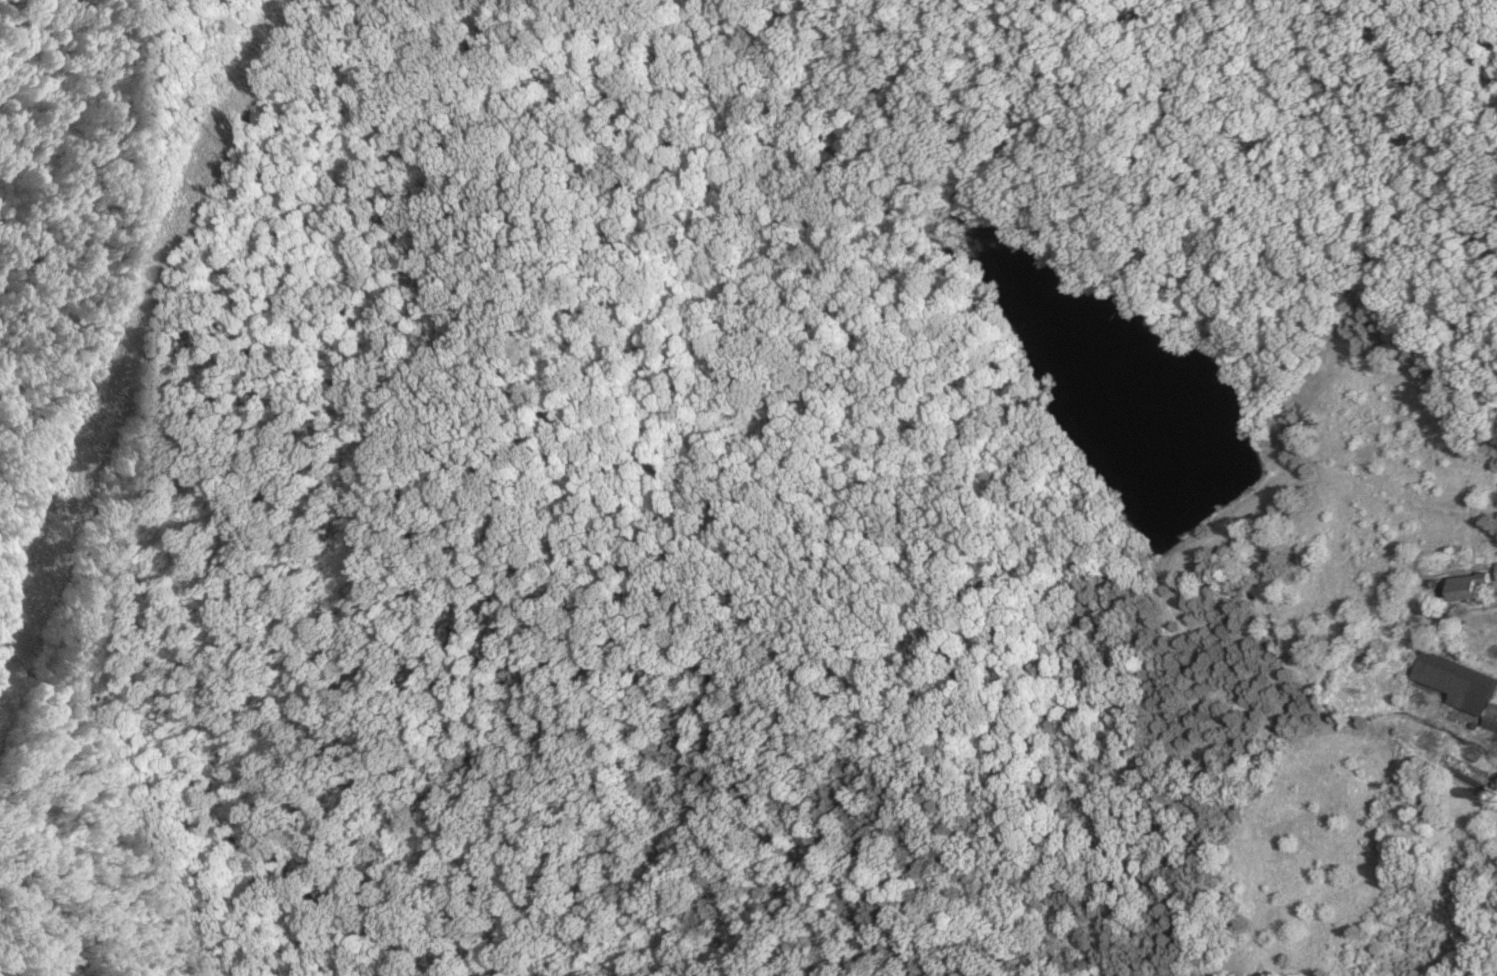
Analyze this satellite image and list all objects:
building: (1496, 571)
building: (1463, 587)
building: (1459, 685)

